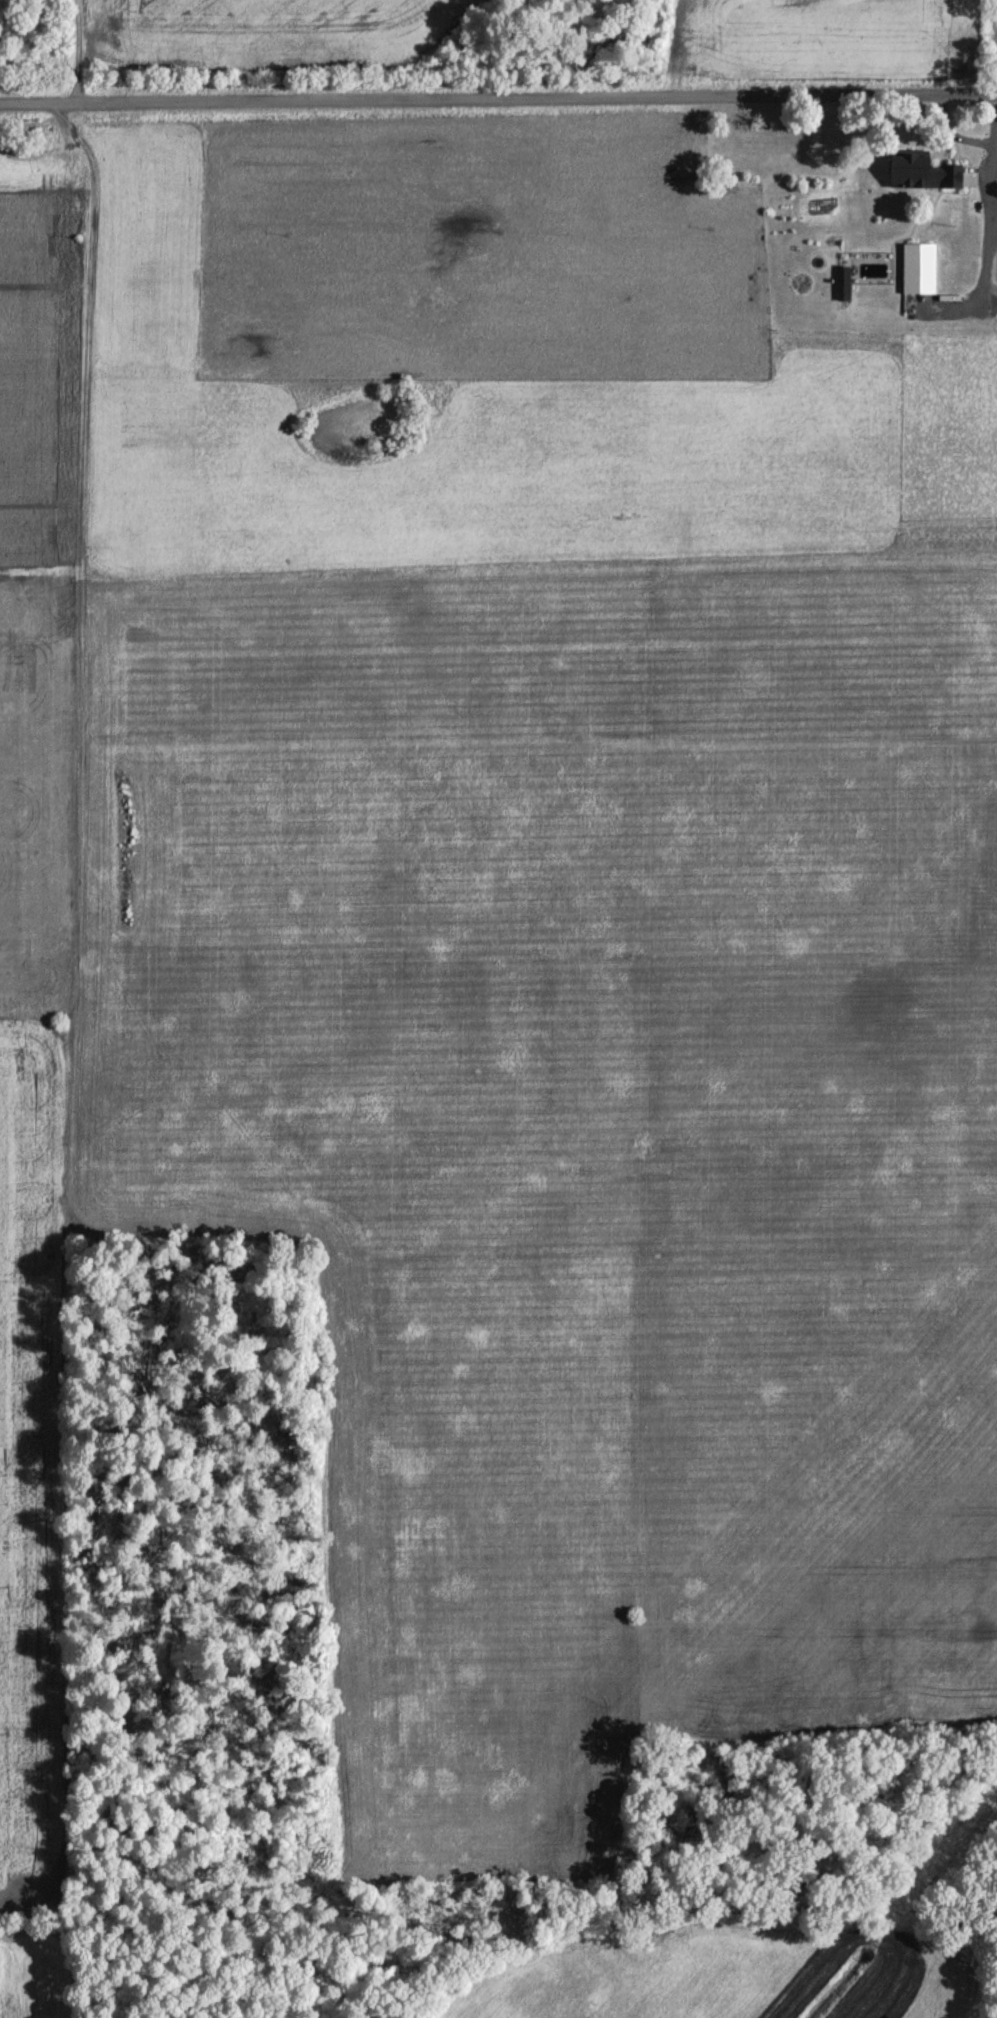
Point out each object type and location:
road: (75, 52)
road: (498, 102)
building: (920, 272)

